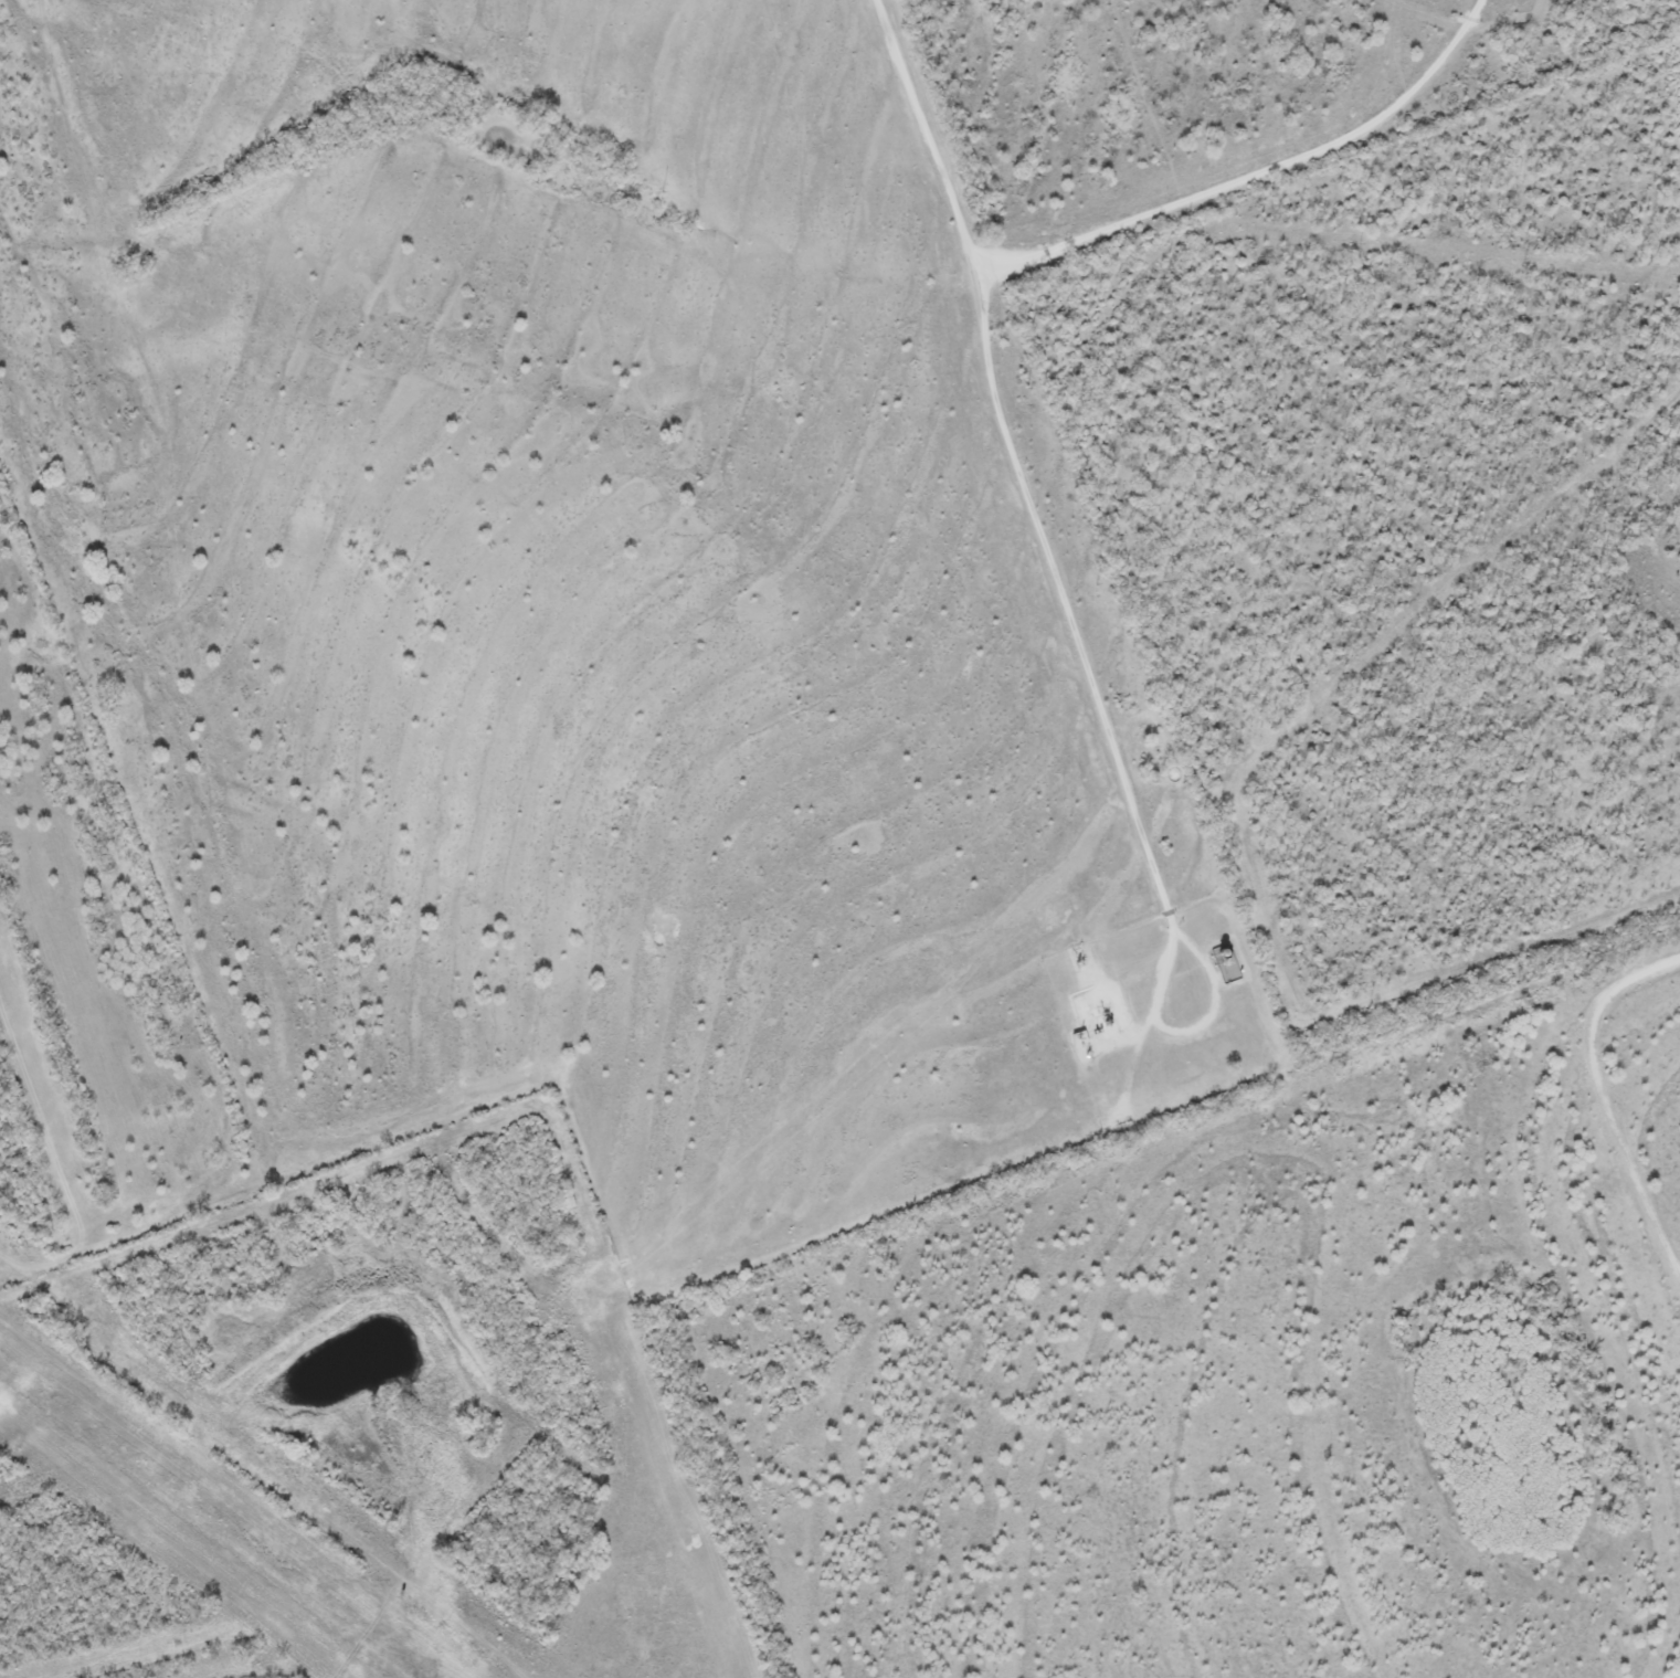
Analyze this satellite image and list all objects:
road: (1127, 230)
building: (1226, 964)

